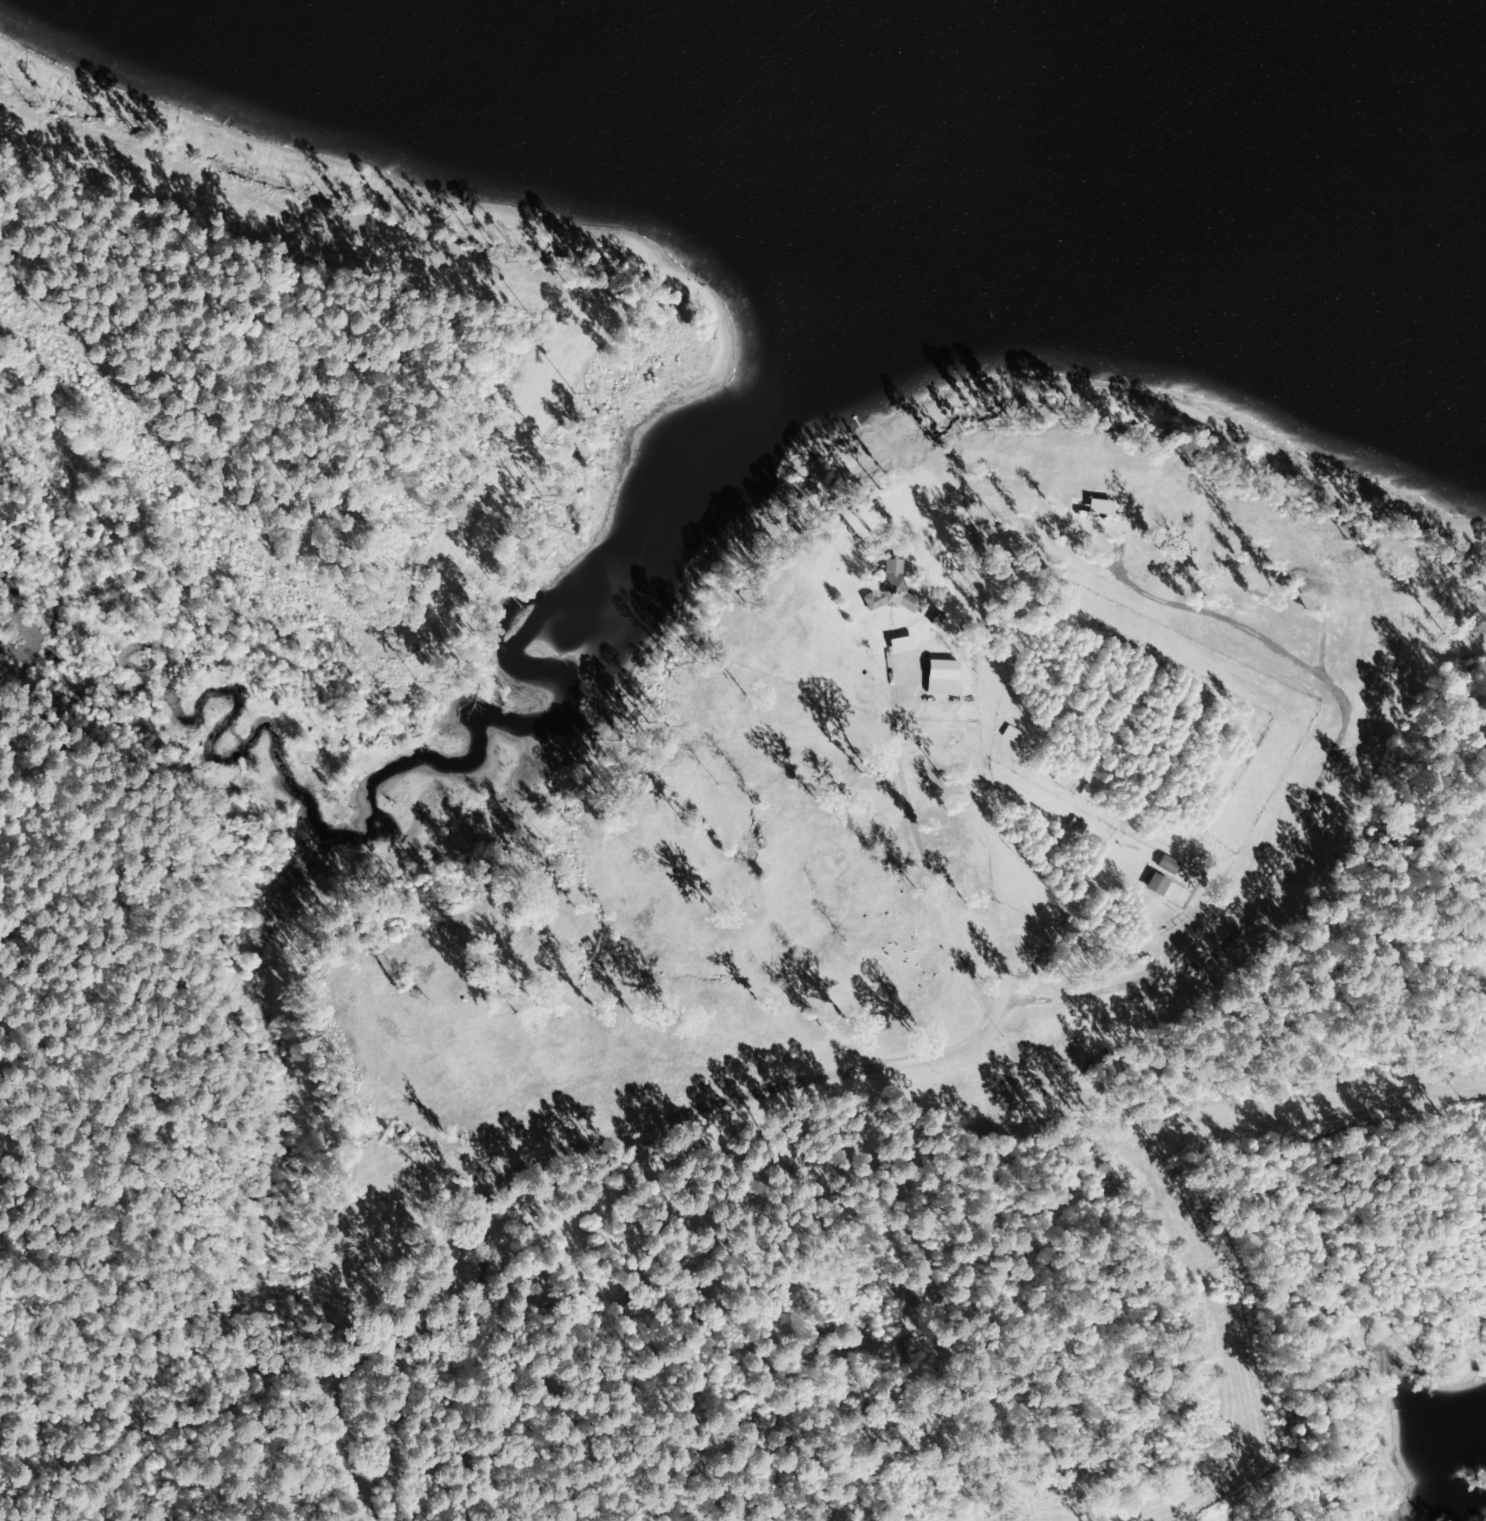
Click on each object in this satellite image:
building: (1105, 507)
building: (897, 590)
building: (943, 621)
building: (907, 645)
building: (947, 678)
building: (1015, 734)
building: (1172, 865)
building: (1161, 885)

